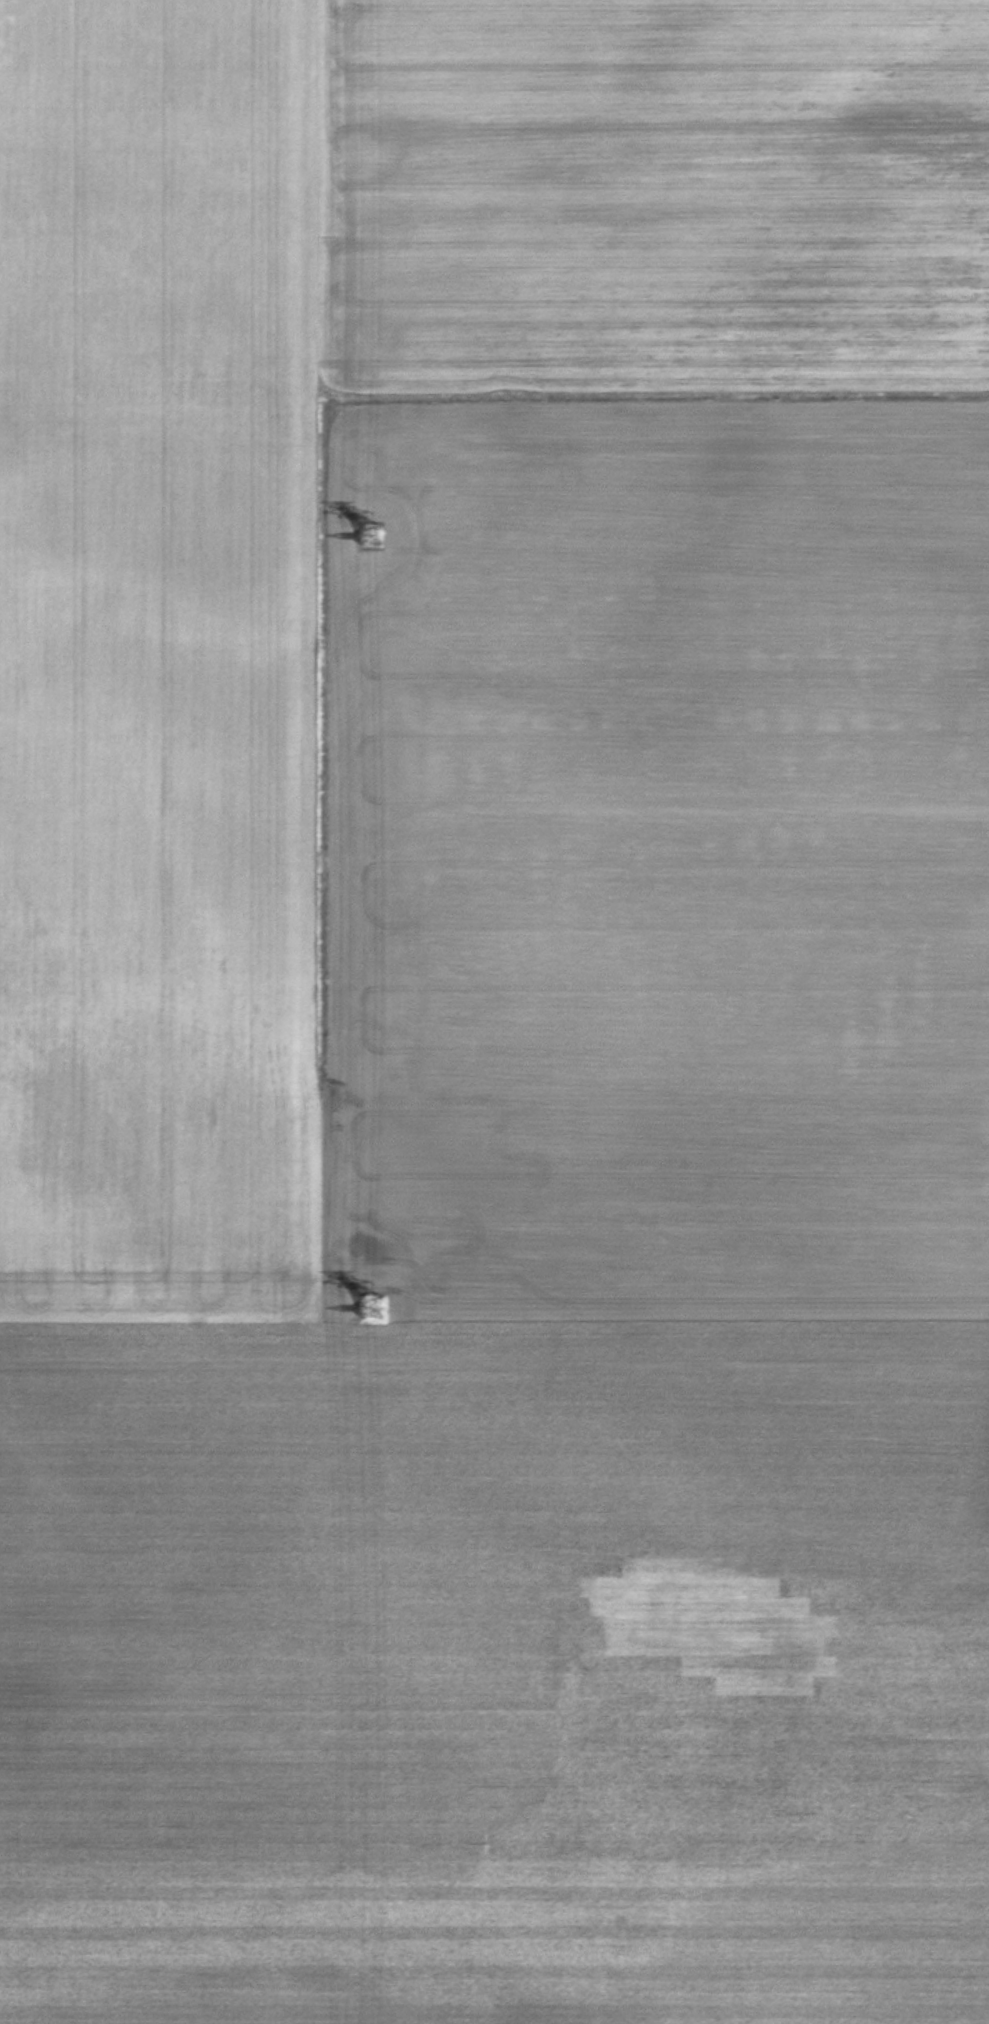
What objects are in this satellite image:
power tower: (372, 532)
power tower: (373, 1307)

